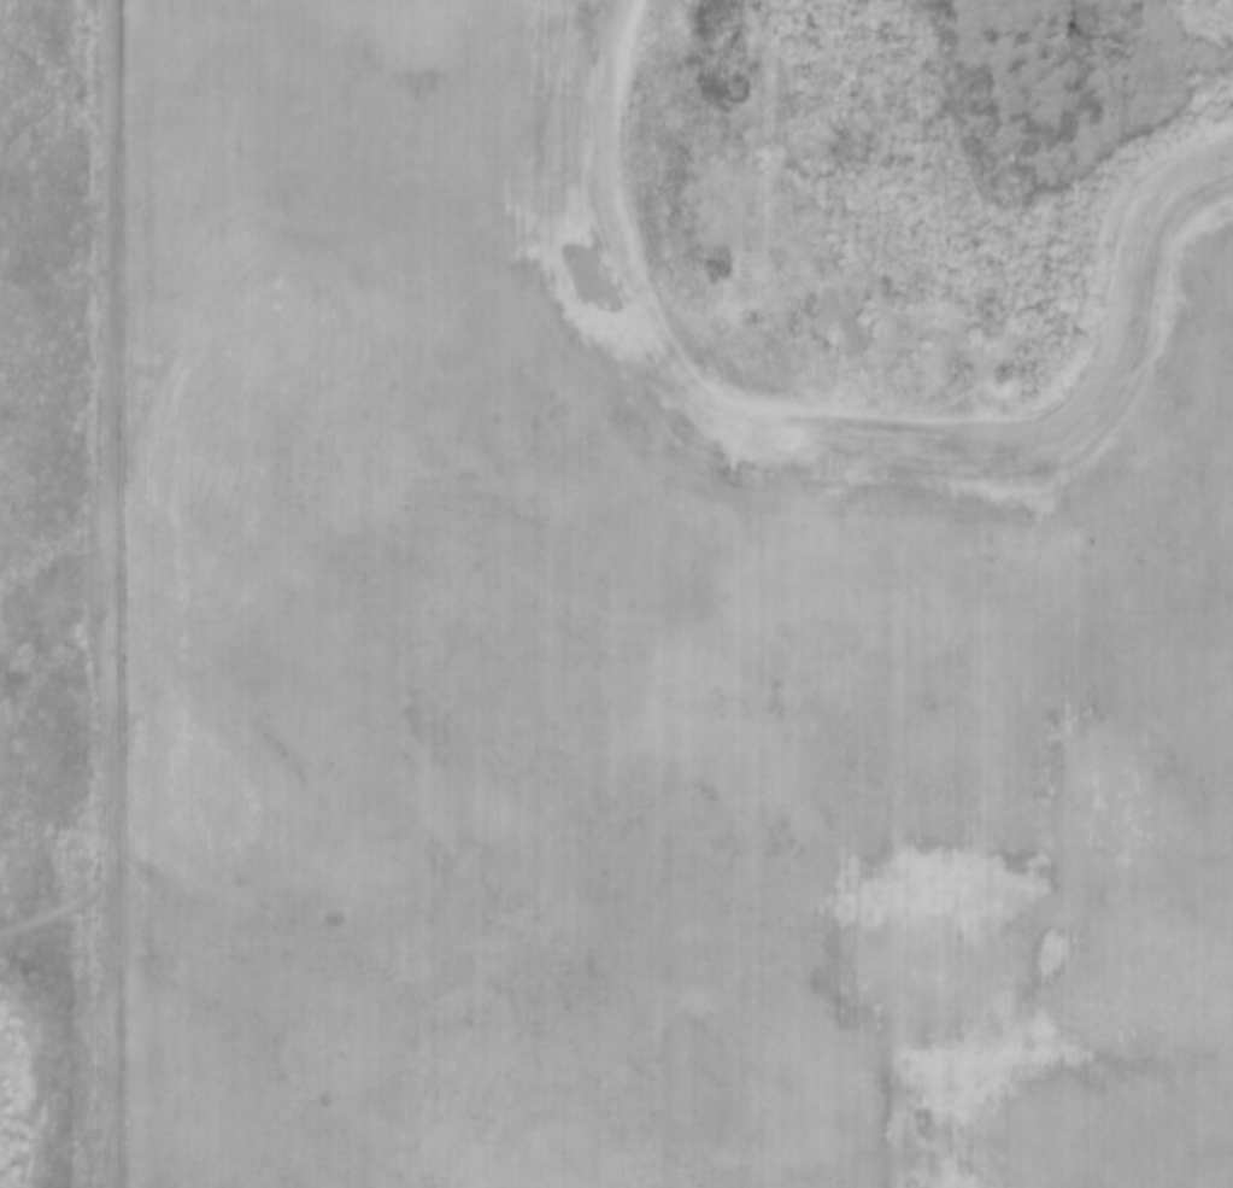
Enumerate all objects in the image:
road: (107, 593)

